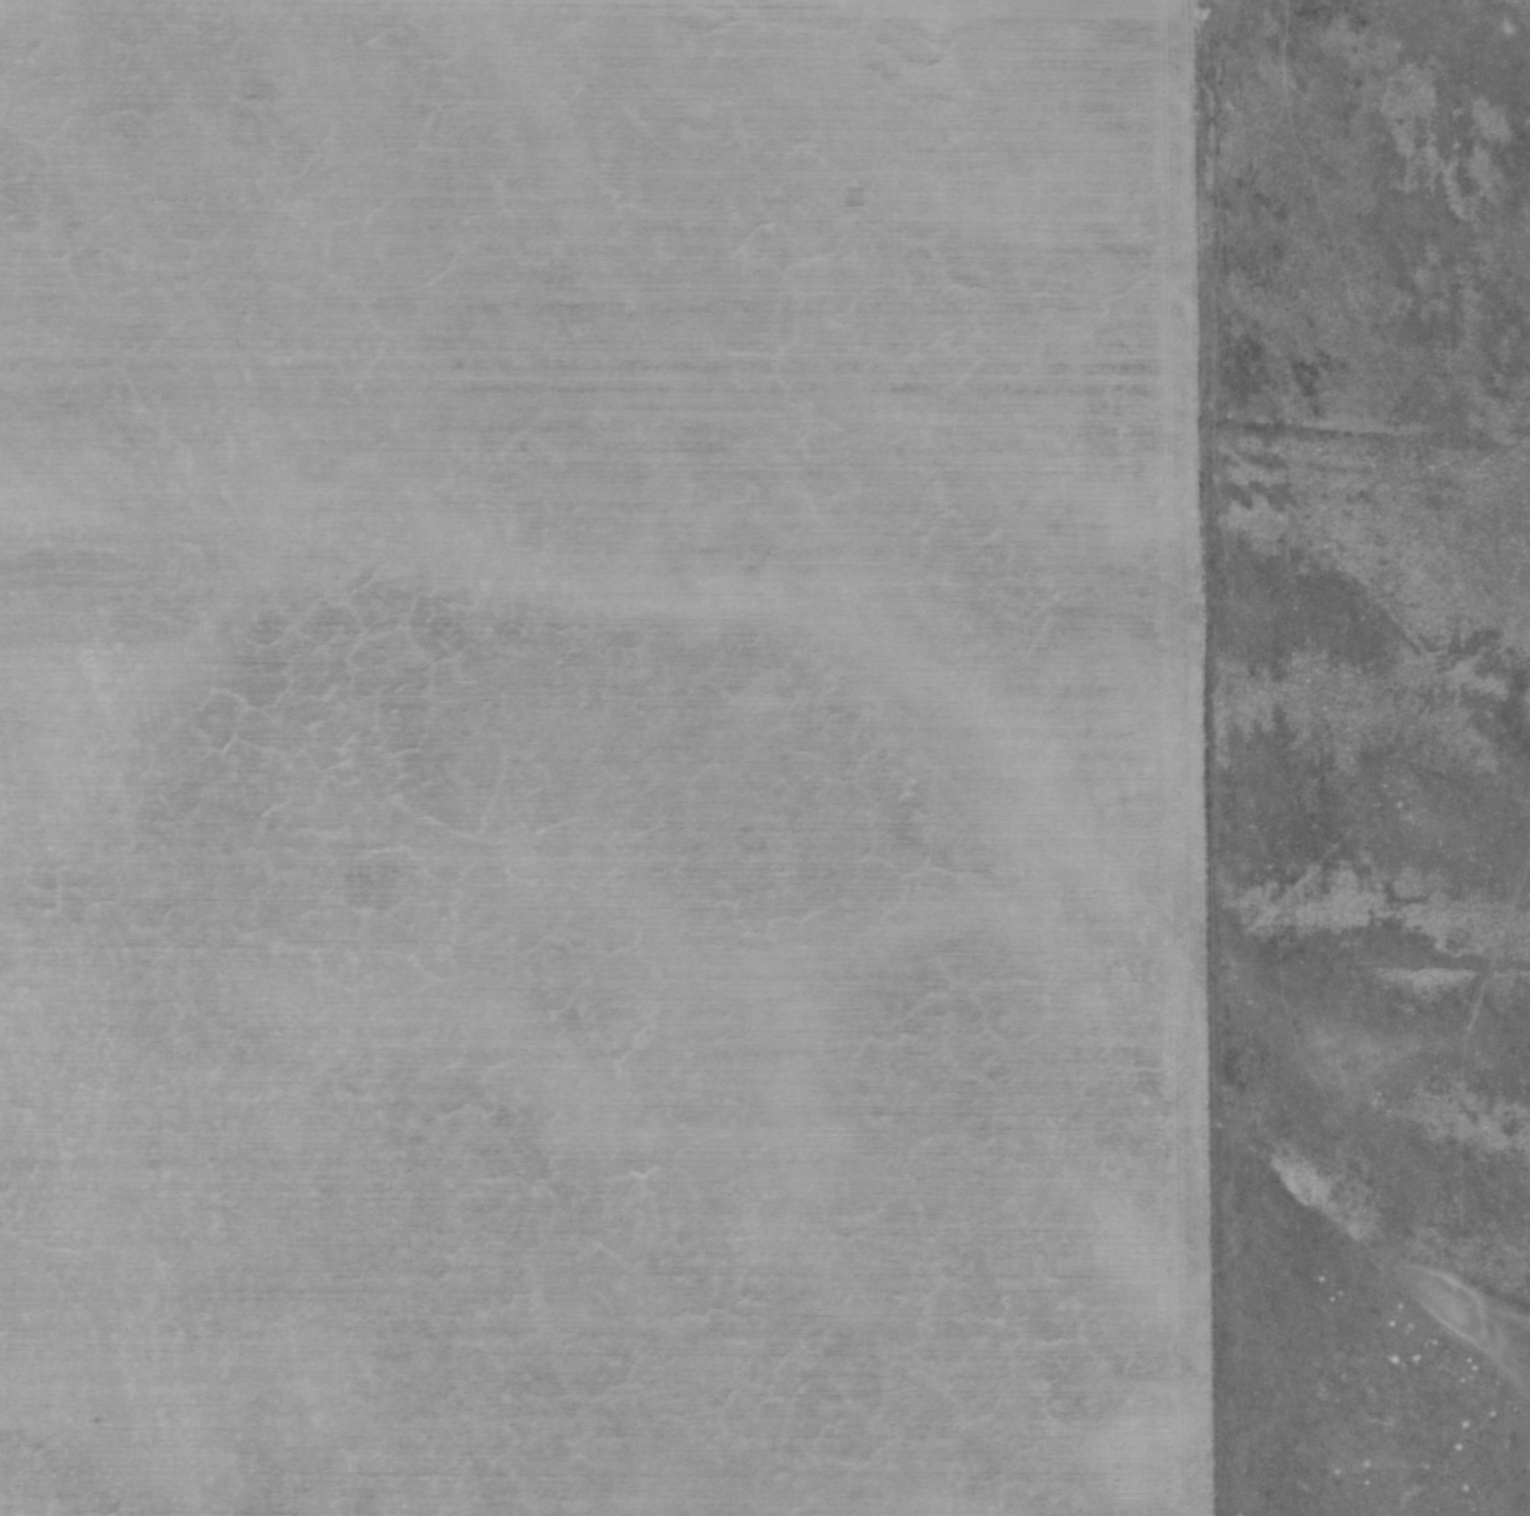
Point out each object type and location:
crop: (600, 759)

